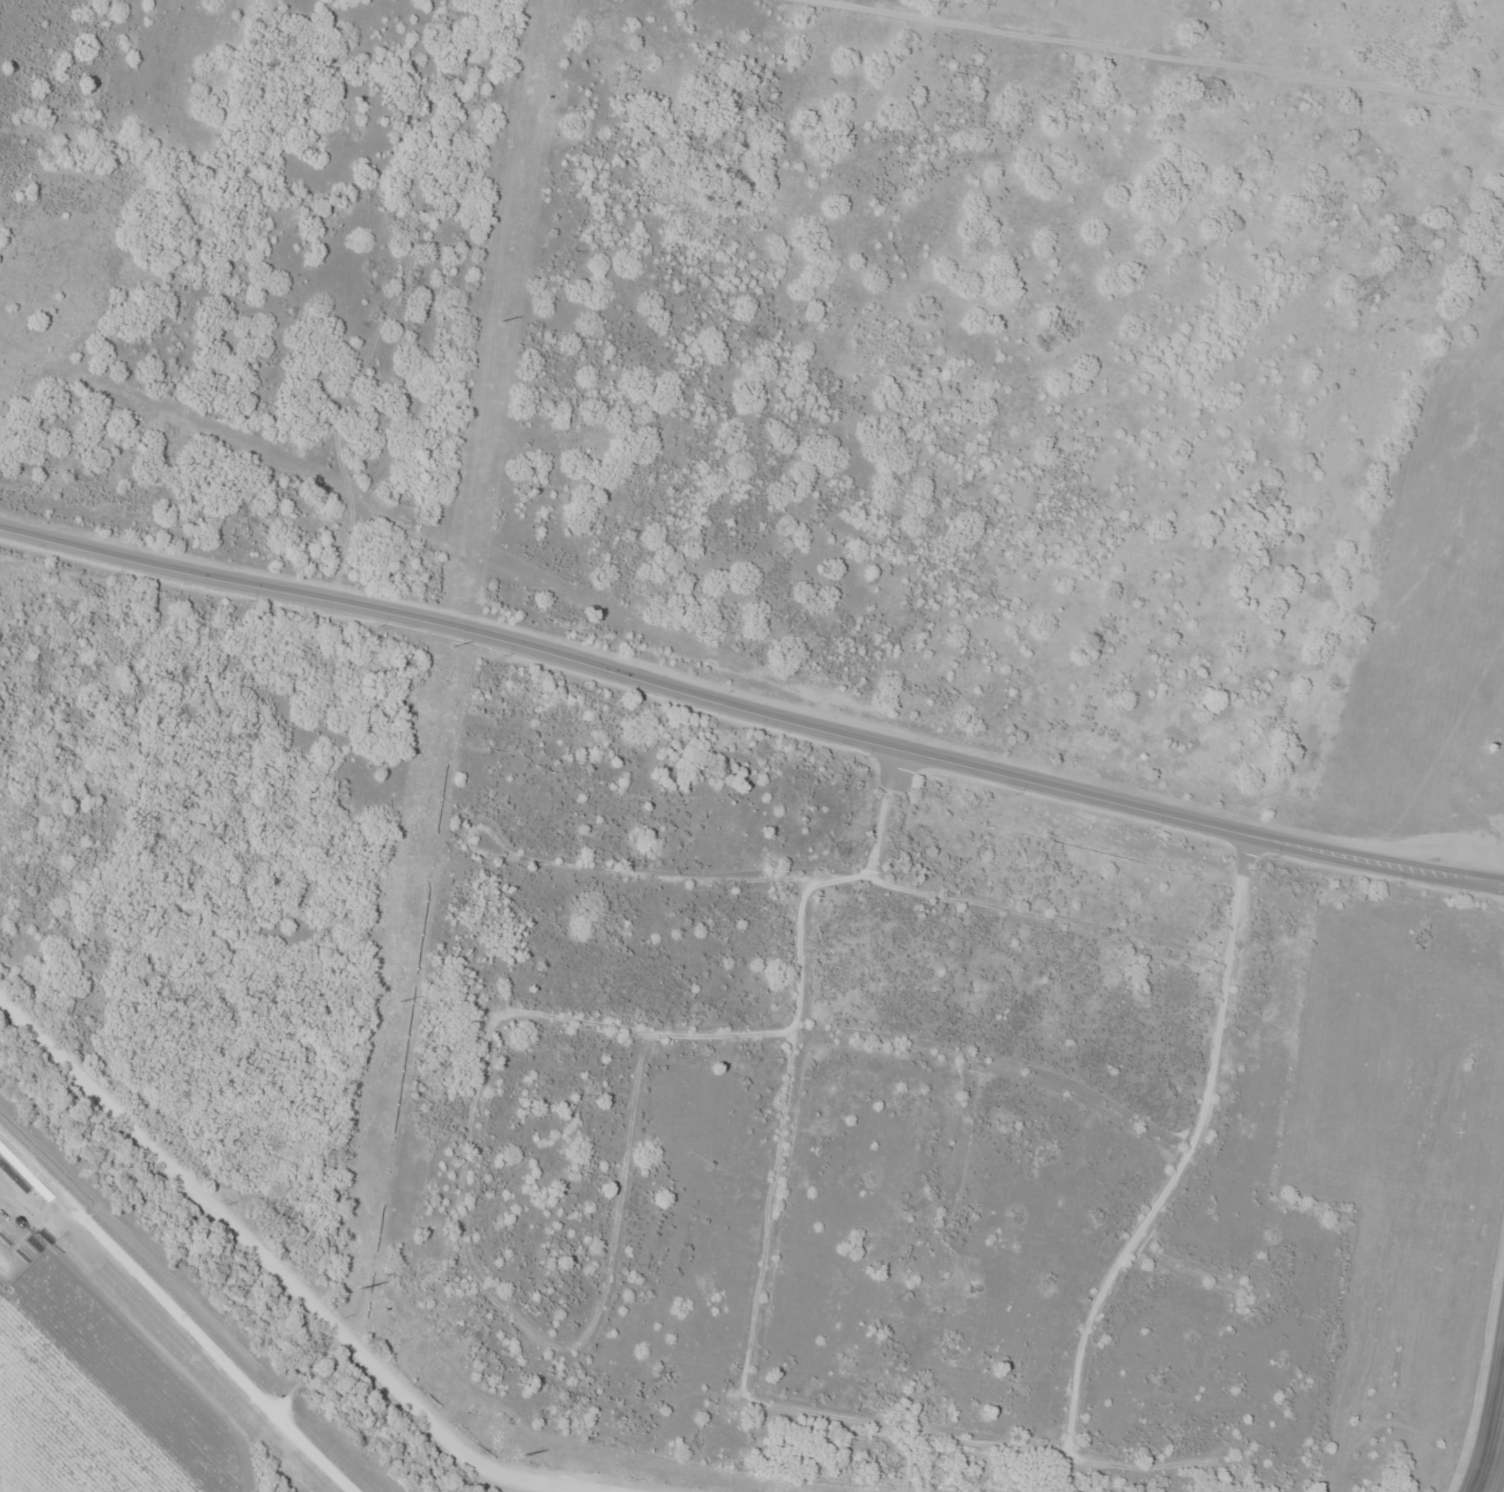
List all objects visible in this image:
road: (747, 738)
road: (285, 1278)
road: (179, 1311)
road: (307, 1370)
road: (1495, 1459)

